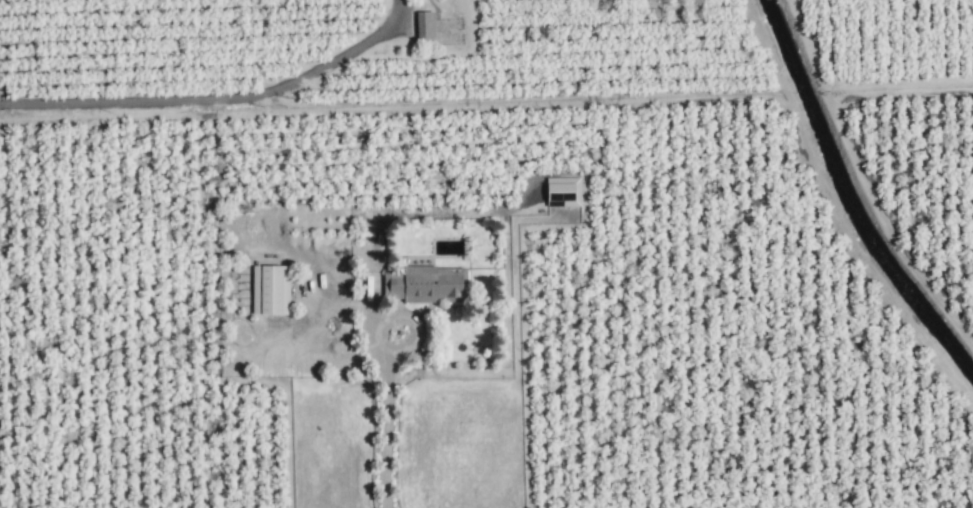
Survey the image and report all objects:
building: (427, 26)
road: (211, 98)
building: (565, 192)
river: (849, 200)
crop: (646, 224)
building: (426, 284)
building: (273, 290)
road: (385, 394)

